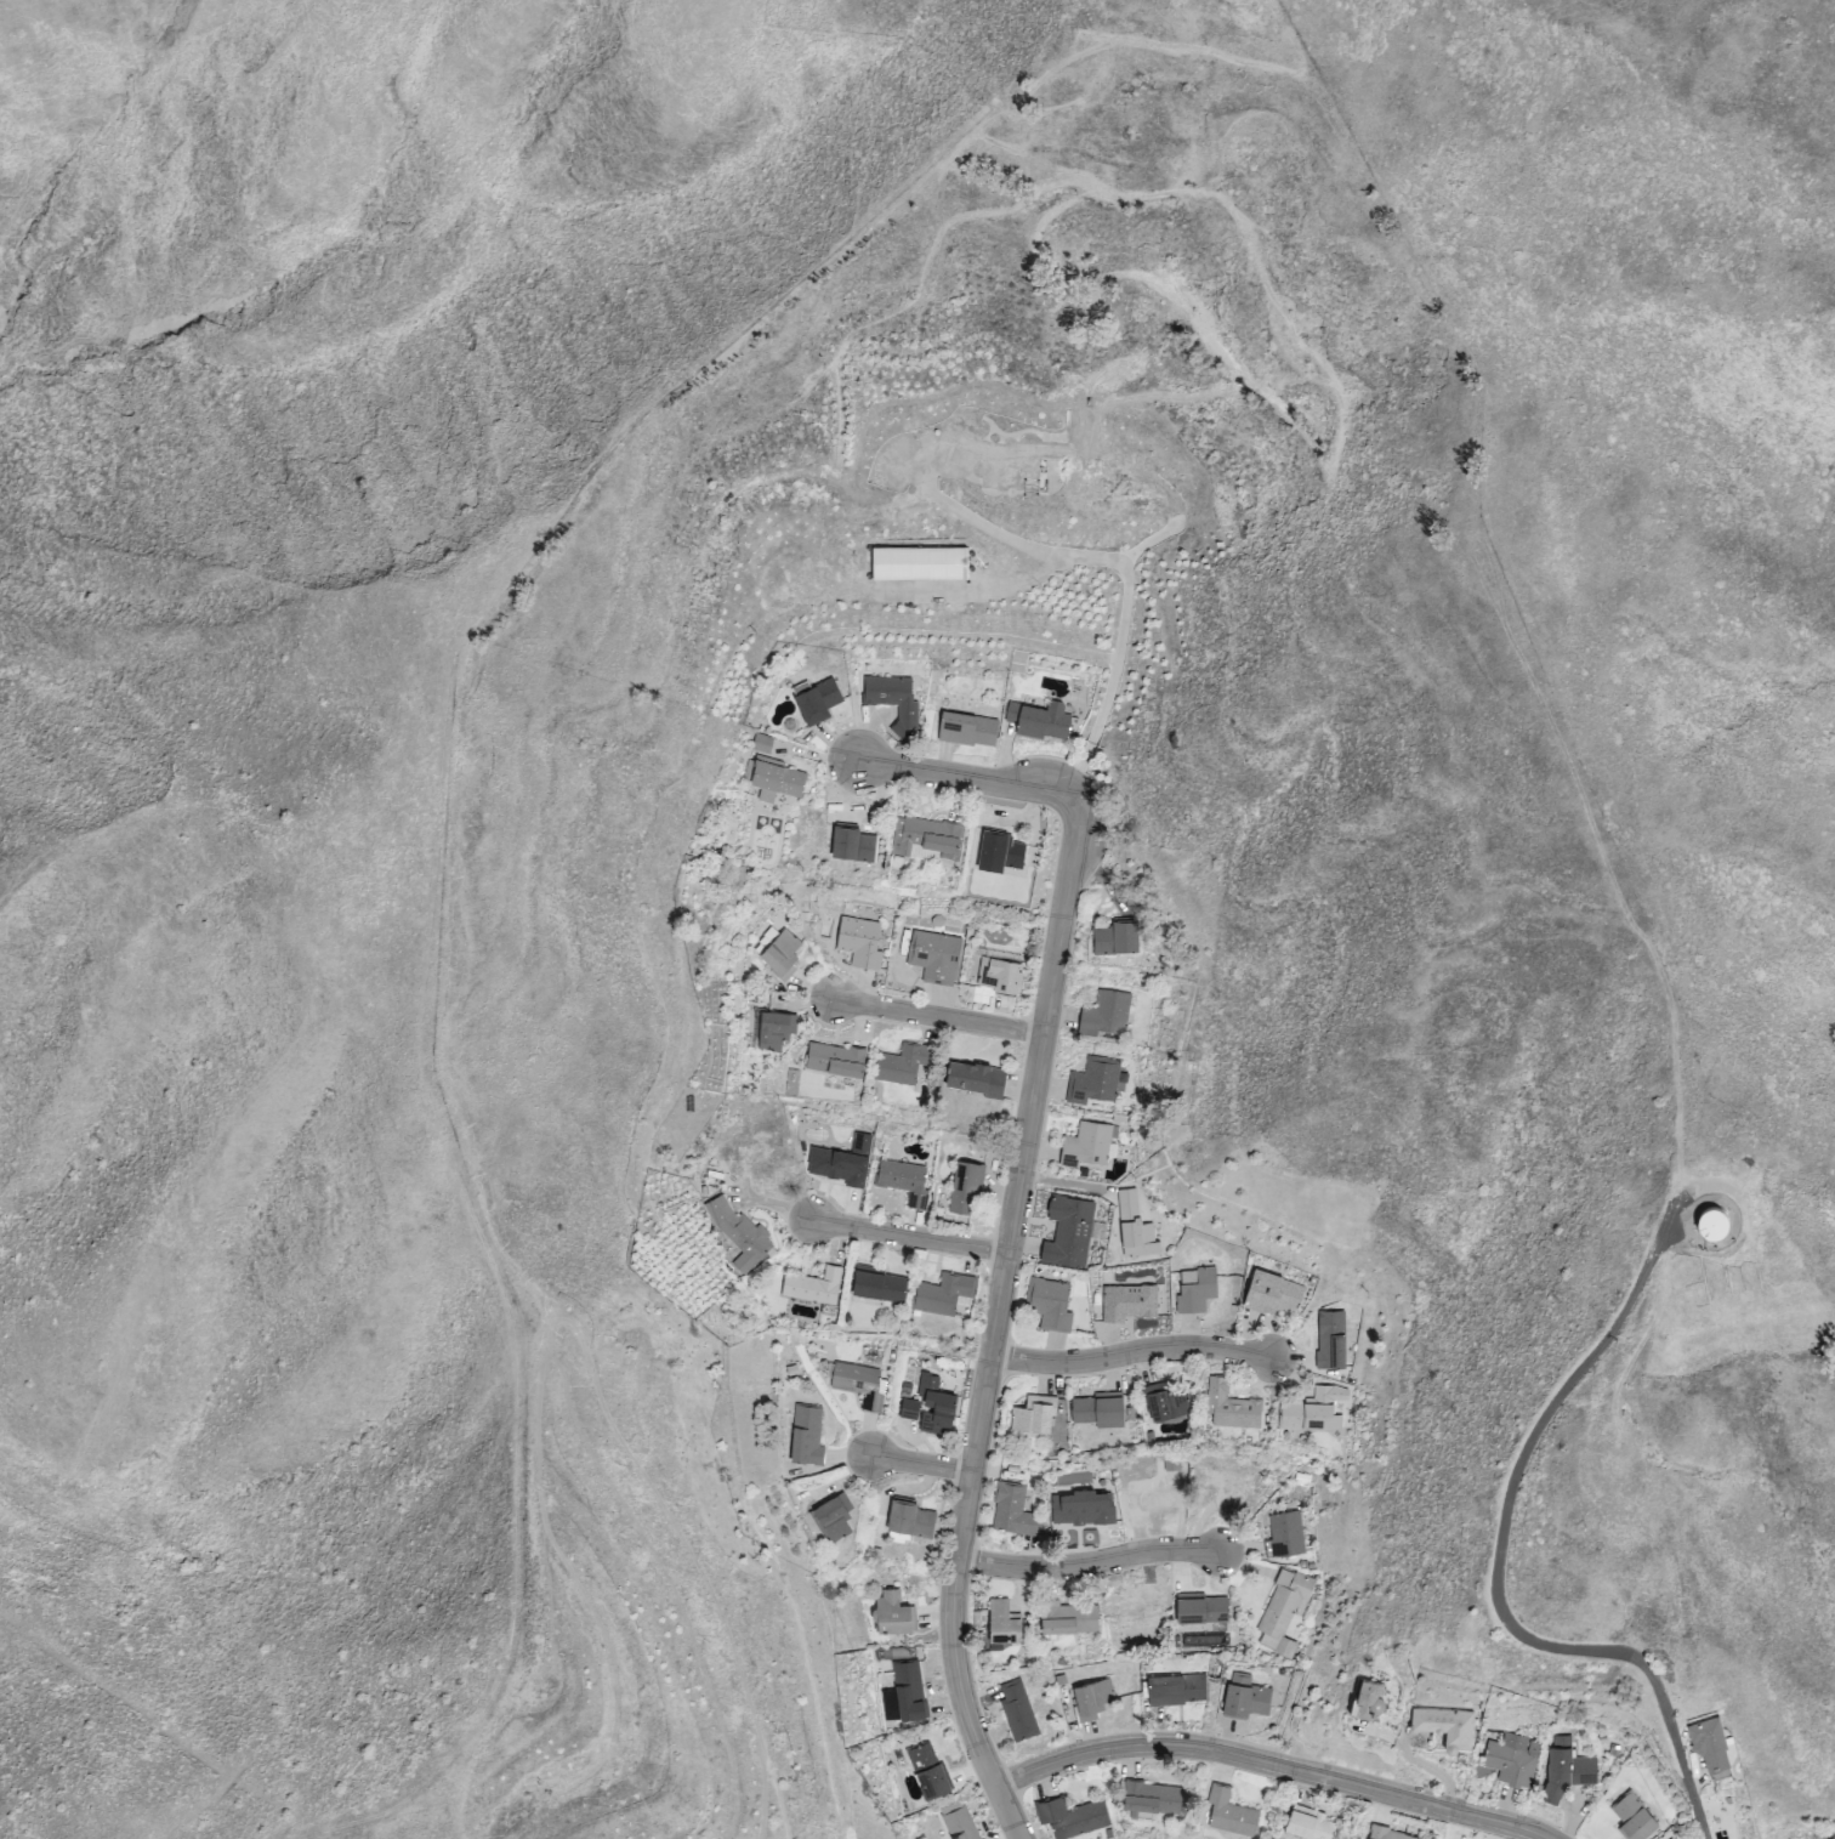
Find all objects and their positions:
building: (970, 430)
building: (1057, 449)
building: (1011, 462)
building: (892, 475)
building: (920, 567)
road: (1121, 635)
building: (817, 700)
building: (896, 702)
building: (1040, 721)
building: (967, 728)
building: (765, 744)
building: (778, 778)
road: (976, 779)
building: (933, 836)
building: (854, 845)
building: (1000, 853)
building: (1117, 937)
building: (763, 941)
building: (862, 943)
building: (782, 955)
building: (937, 957)
building: (1000, 975)
building: (1106, 1014)
road: (938, 1017)
building: (777, 1031)
building: (836, 1060)
building: (903, 1065)
building: (978, 1078)
building: (1093, 1082)
building: (884, 1141)
building: (1086, 1145)
building: (843, 1158)
building: (905, 1182)
building: (967, 1188)
building: (1762, 1222)
building: (1136, 1226)
building: (1717, 1226)
storage tank: (1717, 1226)
building: (1068, 1232)
building: (740, 1236)
road: (910, 1237)
building: (879, 1285)
building: (814, 1288)
building: (944, 1294)
building: (1200, 1294)
building: (1274, 1296)
building: (1051, 1305)
building: (1134, 1306)
road: (995, 1328)
building: (1334, 1343)
road: (1131, 1352)
building: (862, 1384)
building: (1166, 1401)
building: (1232, 1406)
building: (936, 1407)
building: (910, 1408)
building: (1101, 1409)
building: (1316, 1411)
building: (1036, 1413)
building: (807, 1435)
building: (1174, 1463)
road: (922, 1465)
building: (1017, 1511)
building: (835, 1517)
building: (911, 1520)
building: (1288, 1536)
road: (1087, 1565)
road: (1505, 1566)
building: (1203, 1610)
building: (894, 1614)
building: (1286, 1614)
building: (1069, 1618)
building: (1005, 1623)
building: (1268, 1671)
building: (910, 1691)
building: (1178, 1691)
building: (1248, 1698)
building: (1095, 1699)
building: (1370, 1701)
building: (1019, 1712)
building: (1449, 1727)
road: (1377, 1733)
building: (1709, 1749)
road: (1272, 1763)
building: (1515, 1763)
road: (1430, 1769)
building: (928, 1770)
building: (1569, 1771)
building: (1154, 1798)
building: (1232, 1812)
building: (1075, 1818)
building: (1637, 1818)
building: (960, 1822)
building: (1312, 1826)
building: (1388, 1834)

